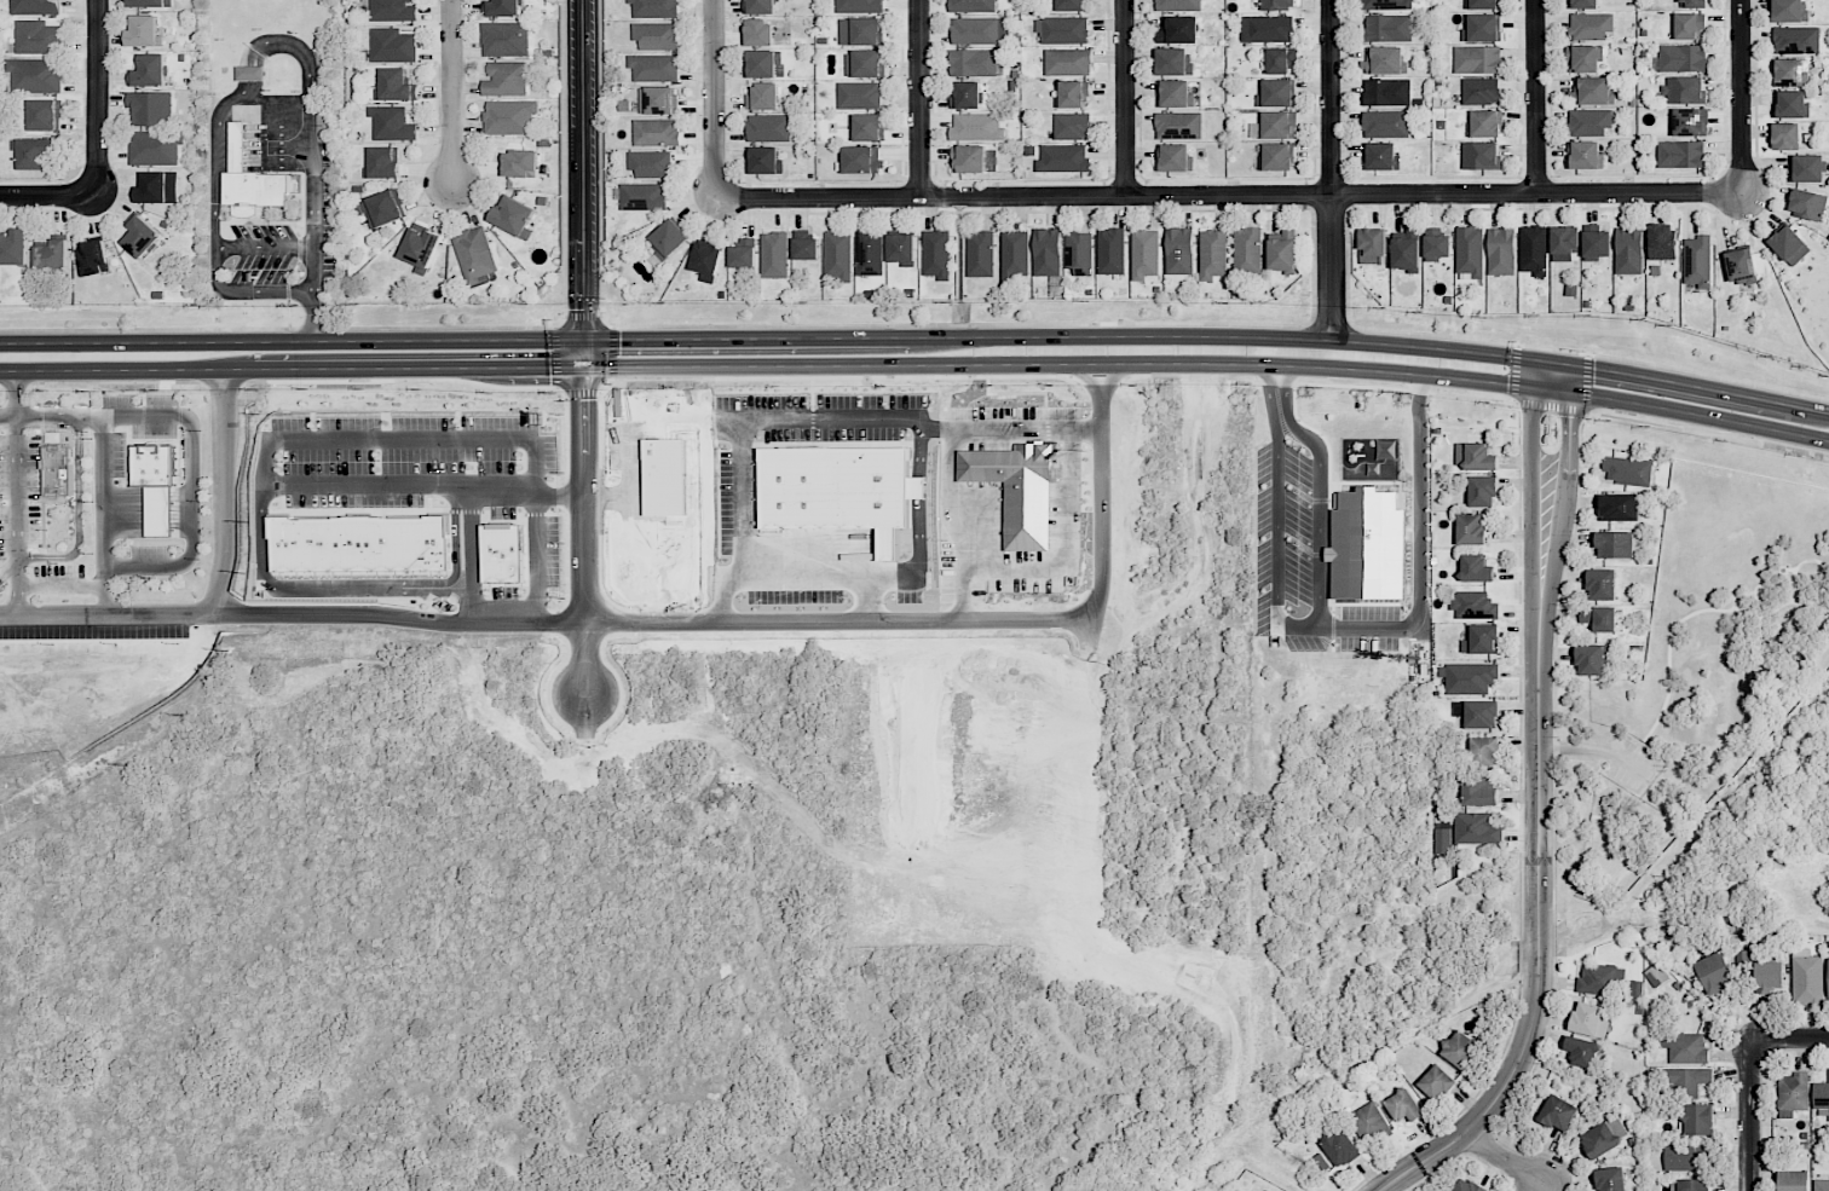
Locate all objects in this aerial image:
building: (150, 2)
building: (1585, 4)
building: (1692, 4)
building: (859, 5)
building: (1069, 5)
building: (1177, 5)
building: (1279, 5)
building: (1387, 5)
building: (1483, 5)
building: (760, 6)
building: (973, 6)
building: (35, 7)
building: (654, 8)
building: (394, 10)
building: (1789, 11)
building: (1591, 25)
building: (1689, 27)
building: (1387, 28)
building: (1482, 28)
building: (1267, 29)
building: (979, 30)
building: (1063, 30)
building: (1177, 30)
building: (144, 31)
building: (861, 31)
building: (760, 33)
building: (656, 36)
building: (39, 37)
building: (506, 39)
building: (1796, 40)
building: (393, 45)
road: (295, 51)
building: (1683, 58)
building: (1477, 59)
building: (1582, 59)
building: (1281, 60)
building: (1384, 60)
building: (1068, 62)
building: (1173, 62)
building: (974, 63)
building: (762, 64)
building: (864, 64)
building: (654, 67)
building: (149, 71)
building: (1789, 73)
building: (36, 75)
building: (506, 79)
building: (396, 86)
building: (1684, 89)
road: (451, 91)
building: (1481, 91)
building: (1386, 92)
building: (1592, 92)
building: (1276, 93)
building: (859, 94)
building: (967, 94)
building: (1072, 94)
building: (1175, 94)
building: (763, 97)
road: (919, 98)
road: (97, 99)
road: (711, 99)
road: (1535, 99)
road: (272, 100)
building: (658, 100)
road: (1125, 100)
road: (1741, 103)
building: (1790, 104)
building: (150, 109)
building: (46, 115)
building: (510, 117)
building: (1589, 122)
building: (1690, 122)
building: (392, 123)
building: (1385, 123)
building: (1484, 123)
building: (1279, 125)
building: (1072, 126)
building: (1179, 126)
building: (768, 127)
building: (869, 127)
building: (976, 127)
building: (657, 132)
building: (1785, 137)
building: (36, 154)
building: (1680, 155)
building: (1380, 156)
building: (1481, 156)
building: (1585, 156)
building: (1176, 157)
building: (1277, 157)
building: (861, 158)
building: (969, 158)
building: (1063, 158)
building: (763, 161)
building: (383, 163)
building: (519, 163)
building: (651, 164)
building: (1807, 168)
road: (1329, 169)
road: (583, 183)
building: (158, 187)
building: (260, 189)
building: (644, 196)
road: (48, 198)
road: (1227, 198)
building: (1807, 204)
building: (382, 209)
building: (513, 216)
road: (316, 220)
road: (210, 230)
building: (140, 236)
building: (669, 239)
building: (1565, 239)
building: (1661, 241)
building: (1596, 243)
building: (1436, 244)
building: (1372, 245)
building: (1789, 245)
building: (13, 247)
road: (264, 247)
building: (421, 247)
building: (807, 247)
building: (902, 249)
building: (1248, 250)
building: (1283, 250)
building: (1407, 250)
building: (1534, 250)
building: (1628, 250)
building: (1112, 252)
building: (1179, 252)
building: (1470, 252)
building: (1501, 252)
building: (870, 253)
building: (1048, 253)
building: (1079, 253)
building: (744, 254)
building: (936, 254)
building: (981, 254)
building: (1015, 254)
building: (1146, 254)
building: (1213, 254)
building: (474, 255)
building: (774, 255)
building: (838, 255)
building: (52, 256)
building: (94, 258)
building: (1697, 261)
building: (706, 262)
building: (1741, 267)
traffic signals: (584, 303)
road: (917, 337)
traffic signals: (615, 340)
road: (785, 365)
traffic signals: (542, 368)
traffic signals: (1594, 368)
road: (1571, 378)
traffic signals: (1507, 383)
road: (1700, 415)
road: (7, 417)
traffic signals: (1569, 421)
road: (818, 422)
road: (720, 423)
road: (1533, 423)
road: (412, 438)
road: (1569, 440)
building: (1476, 456)
building: (156, 466)
road: (191, 470)
building: (1628, 470)
building: (59, 473)
road: (699, 480)
road: (1320, 488)
road: (15, 492)
road: (102, 492)
building: (1483, 492)
building: (1619, 507)
building: (161, 510)
road: (1276, 515)
road: (950, 530)
building: (1471, 530)
road: (267, 538)
building: (1369, 545)
building: (1615, 545)
road: (1420, 548)
road: (478, 560)
road: (540, 560)
building: (1476, 568)
road: (824, 579)
road: (710, 584)
building: (1602, 584)
road: (60, 586)
road: (225, 601)
building: (1476, 606)
road: (346, 618)
building: (1599, 618)
road: (833, 624)
building: (1481, 640)
building: (1594, 659)
building: (1470, 678)
building: (1477, 713)
road: (1596, 750)
building: (1484, 751)
building: (1479, 792)
building: (1476, 828)
building: (1442, 840)
road: (1539, 869)
building: (1715, 972)
building: (1828, 976)
building: (1770, 977)
building: (1807, 978)
building: (1597, 979)
building: (1591, 1019)
road: (1788, 1042)
building: (1684, 1047)
building: (1460, 1050)
building: (1582, 1052)
building: (1686, 1080)
building: (1437, 1083)
building: (1792, 1094)
building: (1823, 1102)
building: (1404, 1106)
building: (1558, 1112)
road: (1748, 1117)
building: (1698, 1120)
building: (1368, 1122)
building: (1599, 1140)
building: (1340, 1146)
building: (1686, 1157)
road: (1502, 1158)
building: (1611, 1179)
building: (1794, 1180)
building: (1467, 1185)
building: (1694, 1185)
building: (1821, 1185)

